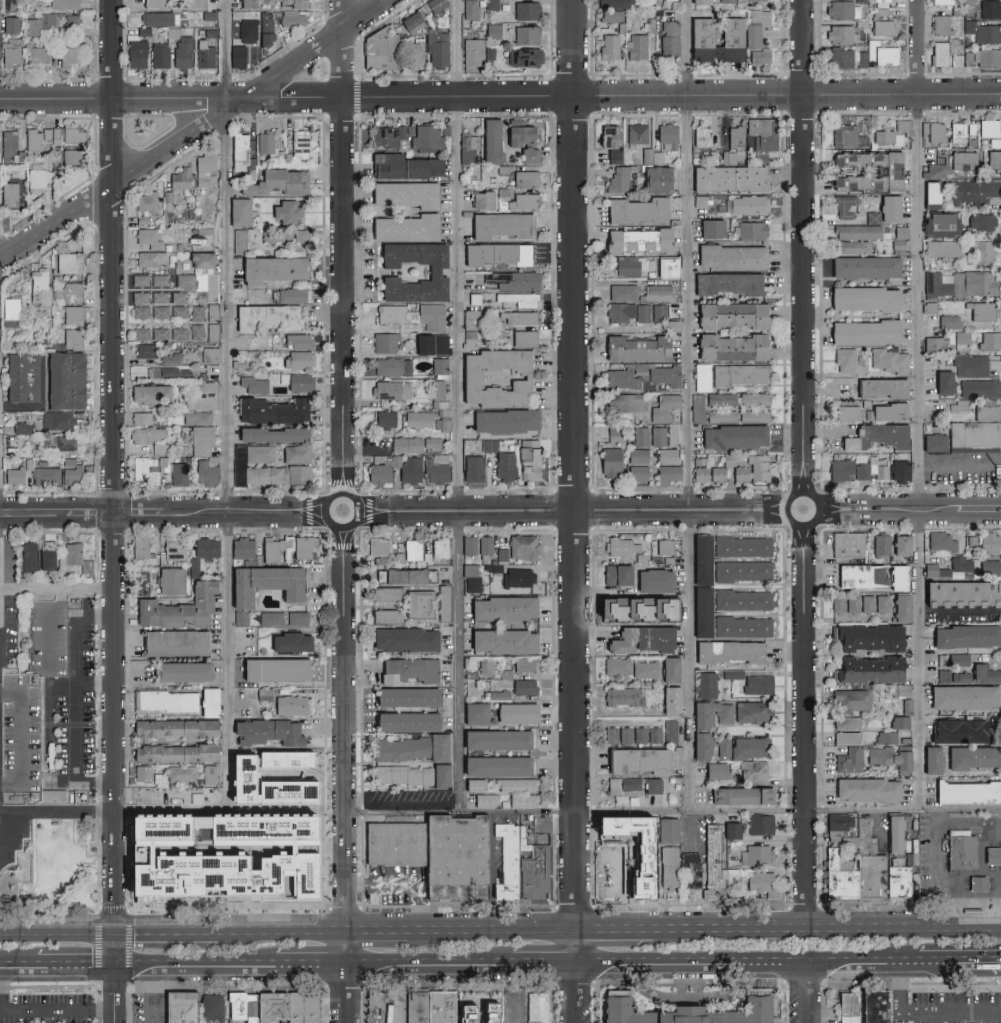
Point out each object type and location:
building: (673, 0)
building: (879, 0)
building: (728, 1)
building: (940, 2)
building: (63, 4)
building: (151, 4)
building: (195, 4)
building: (490, 4)
building: (612, 4)
building: (294, 5)
building: (432, 5)
building: (470, 9)
building: (990, 9)
building: (842, 10)
building: (525, 11)
building: (610, 16)
building: (759, 17)
building: (157, 19)
building: (292, 19)
building: (52, 23)
building: (409, 23)
building: (9, 25)
building: (940, 25)
building: (265, 28)
building: (883, 28)
building: (247, 31)
building: (492, 31)
building: (982, 32)
building: (171, 33)
building: (210, 33)
building: (729, 33)
building: (525, 35)
building: (840, 35)
building: (669, 39)
building: (754, 44)
building: (437, 45)
building: (636, 47)
building: (609, 48)
road: (916, 49)
building: (387, 50)
building: (472, 52)
building: (181, 53)
building: (489, 53)
building: (70, 54)
building: (135, 54)
building: (880, 54)
building: (938, 54)
building: (10, 55)
building: (158, 55)
building: (204, 55)
building: (411, 55)
building: (237, 56)
building: (523, 57)
building: (840, 58)
building: (986, 58)
building: (861, 59)
building: (960, 60)
road: (500, 100)
building: (901, 126)
building: (987, 127)
building: (960, 130)
building: (931, 131)
road: (197, 132)
building: (514, 132)
building: (636, 133)
building: (53, 135)
building: (386, 135)
building: (605, 135)
building: (667, 135)
building: (732, 135)
building: (846, 135)
building: (69, 136)
building: (700, 136)
building: (761, 136)
building: (422, 137)
building: (886, 137)
building: (35, 140)
building: (488, 140)
building: (265, 141)
building: (302, 142)
building: (10, 143)
building: (994, 143)
building: (238, 148)
building: (467, 148)
building: (526, 154)
building: (613, 156)
building: (650, 156)
building: (74, 157)
building: (727, 157)
building: (962, 159)
building: (405, 166)
building: (203, 168)
building: (884, 169)
building: (933, 170)
building: (524, 177)
building: (726, 177)
building: (178, 178)
building: (618, 178)
building: (654, 178)
building: (40, 180)
building: (276, 181)
building: (929, 191)
building: (974, 191)
building: (403, 193)
building: (10, 195)
building: (480, 199)
building: (521, 201)
building: (748, 204)
building: (143, 205)
building: (843, 206)
building: (634, 209)
building: (884, 209)
building: (237, 211)
building: (284, 211)
building: (941, 221)
building: (981, 221)
building: (498, 224)
building: (403, 227)
building: (709, 227)
building: (751, 229)
building: (855, 231)
building: (300, 235)
building: (147, 238)
building: (660, 238)
building: (238, 240)
building: (627, 240)
road: (803, 246)
building: (851, 246)
road: (343, 248)
building: (941, 248)
building: (982, 251)
building: (494, 253)
building: (729, 256)
building: (148, 258)
building: (199, 259)
building: (71, 264)
building: (629, 265)
building: (863, 266)
building: (269, 268)
building: (431, 271)
building: (139, 279)
building: (158, 280)
building: (512, 280)
building: (184, 281)
building: (199, 281)
building: (724, 282)
building: (959, 283)
building: (41, 287)
building: (621, 292)
building: (656, 292)
building: (73, 294)
building: (290, 295)
building: (210, 296)
building: (138, 297)
building: (157, 297)
building: (177, 297)
building: (862, 297)
building: (517, 298)
building: (159, 311)
building: (178, 311)
building: (980, 311)
building: (140, 312)
building: (196, 312)
building: (649, 312)
building: (12, 313)
building: (729, 314)
building: (412, 315)
building: (74, 316)
building: (265, 316)
building: (517, 316)
building: (470, 318)
building: (948, 321)
building: (196, 331)
building: (862, 331)
building: (149, 332)
building: (179, 333)
building: (522, 337)
building: (961, 337)
building: (468, 339)
building: (75, 340)
building: (989, 340)
building: (239, 342)
building: (384, 342)
building: (429, 343)
building: (934, 344)
building: (633, 347)
building: (730, 347)
building: (143, 351)
building: (209, 354)
building: (844, 358)
building: (297, 359)
building: (889, 360)
building: (438, 365)
building: (391, 366)
building: (970, 366)
building: (469, 374)
building: (739, 374)
building: (702, 377)
building: (24, 378)
building: (620, 379)
building: (68, 381)
building: (299, 382)
building: (942, 382)
building: (253, 384)
building: (881, 387)
building: (979, 388)
building: (390, 390)
building: (149, 393)
building: (754, 399)
building: (721, 400)
building: (624, 402)
road: (459, 406)
road: (691, 406)
road: (231, 407)
building: (664, 407)
building: (697, 408)
building: (271, 410)
building: (887, 411)
building: (846, 412)
building: (987, 412)
building: (721, 416)
building: (754, 416)
building: (140, 417)
building: (196, 417)
building: (382, 419)
building: (419, 419)
building: (503, 420)
building: (60, 421)
building: (24, 429)
building: (269, 433)
building: (614, 433)
building: (145, 434)
building: (640, 435)
building: (974, 435)
building: (658, 436)
building: (733, 436)
building: (875, 436)
building: (197, 439)
building: (63, 442)
building: (415, 444)
building: (937, 444)
building: (488, 445)
building: (159, 448)
building: (258, 453)
building: (295, 454)
road: (919, 454)
building: (637, 456)
building: (666, 456)
building: (527, 460)
building: (609, 462)
building: (503, 465)
building: (142, 467)
road: (577, 467)
building: (757, 467)
building: (878, 467)
building: (471, 468)
building: (410, 469)
building: (435, 469)
building: (699, 469)
building: (840, 469)
building: (860, 470)
building: (206, 471)
building: (899, 471)
building: (73, 472)
building: (637, 472)
building: (668, 472)
building: (178, 473)
building: (378, 473)
building: (717, 473)
building: (740, 473)
building: (276, 474)
building: (16, 476)
building: (47, 477)
road: (113, 511)
road: (913, 511)
road: (575, 514)
road: (161, 516)
road: (322, 519)
road: (794, 530)
building: (940, 541)
building: (983, 543)
building: (483, 544)
building: (847, 544)
building: (881, 544)
building: (467, 545)
building: (899, 545)
building: (377, 546)
building: (522, 546)
building: (620, 546)
building: (662, 546)
building: (741, 546)
building: (141, 547)
building: (205, 547)
building: (300, 547)
building: (438, 547)
building: (241, 548)
building: (272, 548)
building: (411, 549)
building: (173, 551)
building: (73, 553)
building: (501, 553)
building: (29, 556)
building: (46, 559)
building: (699, 559)
building: (960, 565)
building: (193, 566)
building: (990, 567)
building: (469, 569)
building: (741, 570)
building: (613, 574)
building: (859, 575)
building: (518, 577)
building: (897, 577)
building: (168, 580)
building: (652, 580)
building: (138, 582)
building: (261, 583)
road: (57, 588)
building: (387, 593)
building: (958, 593)
road: (1, 594)
building: (741, 599)
building: (418, 603)
building: (443, 603)
building: (851, 603)
building: (866, 603)
building: (881, 603)
building: (836, 604)
building: (176, 607)
building: (501, 607)
building: (899, 607)
building: (700, 611)
road: (960, 613)
building: (385, 616)
building: (240, 618)
building: (269, 618)
building: (295, 618)
building: (741, 627)
building: (964, 636)
building: (868, 637)
building: (403, 638)
building: (639, 639)
building: (287, 641)
building: (500, 641)
building: (172, 642)
building: (727, 651)
building: (523, 664)
building: (485, 665)
building: (615, 666)
building: (271, 669)
building: (644, 669)
building: (668, 669)
building: (867, 669)
building: (405, 670)
building: (180, 671)
building: (732, 673)
building: (984, 673)
building: (959, 677)
building: (706, 684)
building: (757, 684)
building: (523, 686)
building: (404, 696)
building: (621, 696)
building: (961, 697)
building: (37, 699)
parking lot: (37, 699)
building: (849, 699)
building: (166, 700)
building: (668, 700)
building: (207, 702)
road: (76, 705)
building: (290, 705)
parking lot: (75, 708)
building: (515, 712)
building: (751, 712)
building: (473, 713)
building: (721, 713)
building: (699, 715)
building: (404, 721)
building: (845, 722)
building: (898, 722)
building: (172, 728)
building: (958, 730)
building: (669, 731)
building: (266, 732)
road: (808, 733)
building: (631, 735)
building: (845, 737)
building: (885, 737)
building: (494, 739)
building: (700, 746)
building: (739, 747)
building: (411, 748)
road: (346, 752)
building: (173, 753)
building: (890, 757)
building: (973, 757)
building: (636, 760)
building: (848, 760)
building: (930, 760)
building: (493, 765)
building: (713, 770)
building: (752, 770)
building: (141, 773)
building: (181, 773)
building: (207, 774)
building: (411, 775)
building: (515, 784)
building: (631, 786)
building: (865, 789)
building: (969, 793)
building: (477, 795)
building: (739, 795)
building: (522, 800)
road: (559, 812)
building: (760, 824)
building: (730, 830)
building: (670, 832)
building: (896, 836)
building: (863, 837)
building: (401, 846)
building: (466, 851)
building: (963, 853)
building: (757, 854)
building: (626, 856)
building: (994, 857)
building: (513, 863)
building: (306, 864)
building: (715, 864)
building: (615, 865)
building: (671, 868)
building: (687, 870)
building: (540, 875)
building: (873, 877)
building: (841, 878)
building: (9, 879)
building: (900, 882)
building: (761, 883)
building: (147, 884)
building: (979, 884)
road: (826, 931)
road: (283, 933)
road: (617, 933)
road: (59, 934)
road: (168, 934)
road: (378, 934)
road: (494, 934)
road: (623, 944)
road: (526, 948)
road: (940, 965)
road: (982, 965)
road: (694, 966)
road: (862, 966)
road: (196, 967)
road: (312, 967)
road: (427, 967)
road: (543, 967)
road: (76, 968)
road: (17, 969)
road: (807, 994)
road: (148, 995)
road: (349, 995)
road: (580, 995)
building: (879, 1006)
parking lot: (49, 1007)
building: (299, 1007)
building: (188, 1008)
building: (248, 1008)
building: (376, 1008)
building: (418, 1008)
building: (447, 1008)
building: (852, 1008)
building: (219, 1009)
building: (280, 1009)
building: (543, 1009)
building: (689, 1010)
road: (58, 1011)
building: (474, 1011)
road: (925, 1014)
road: (899, 1018)

